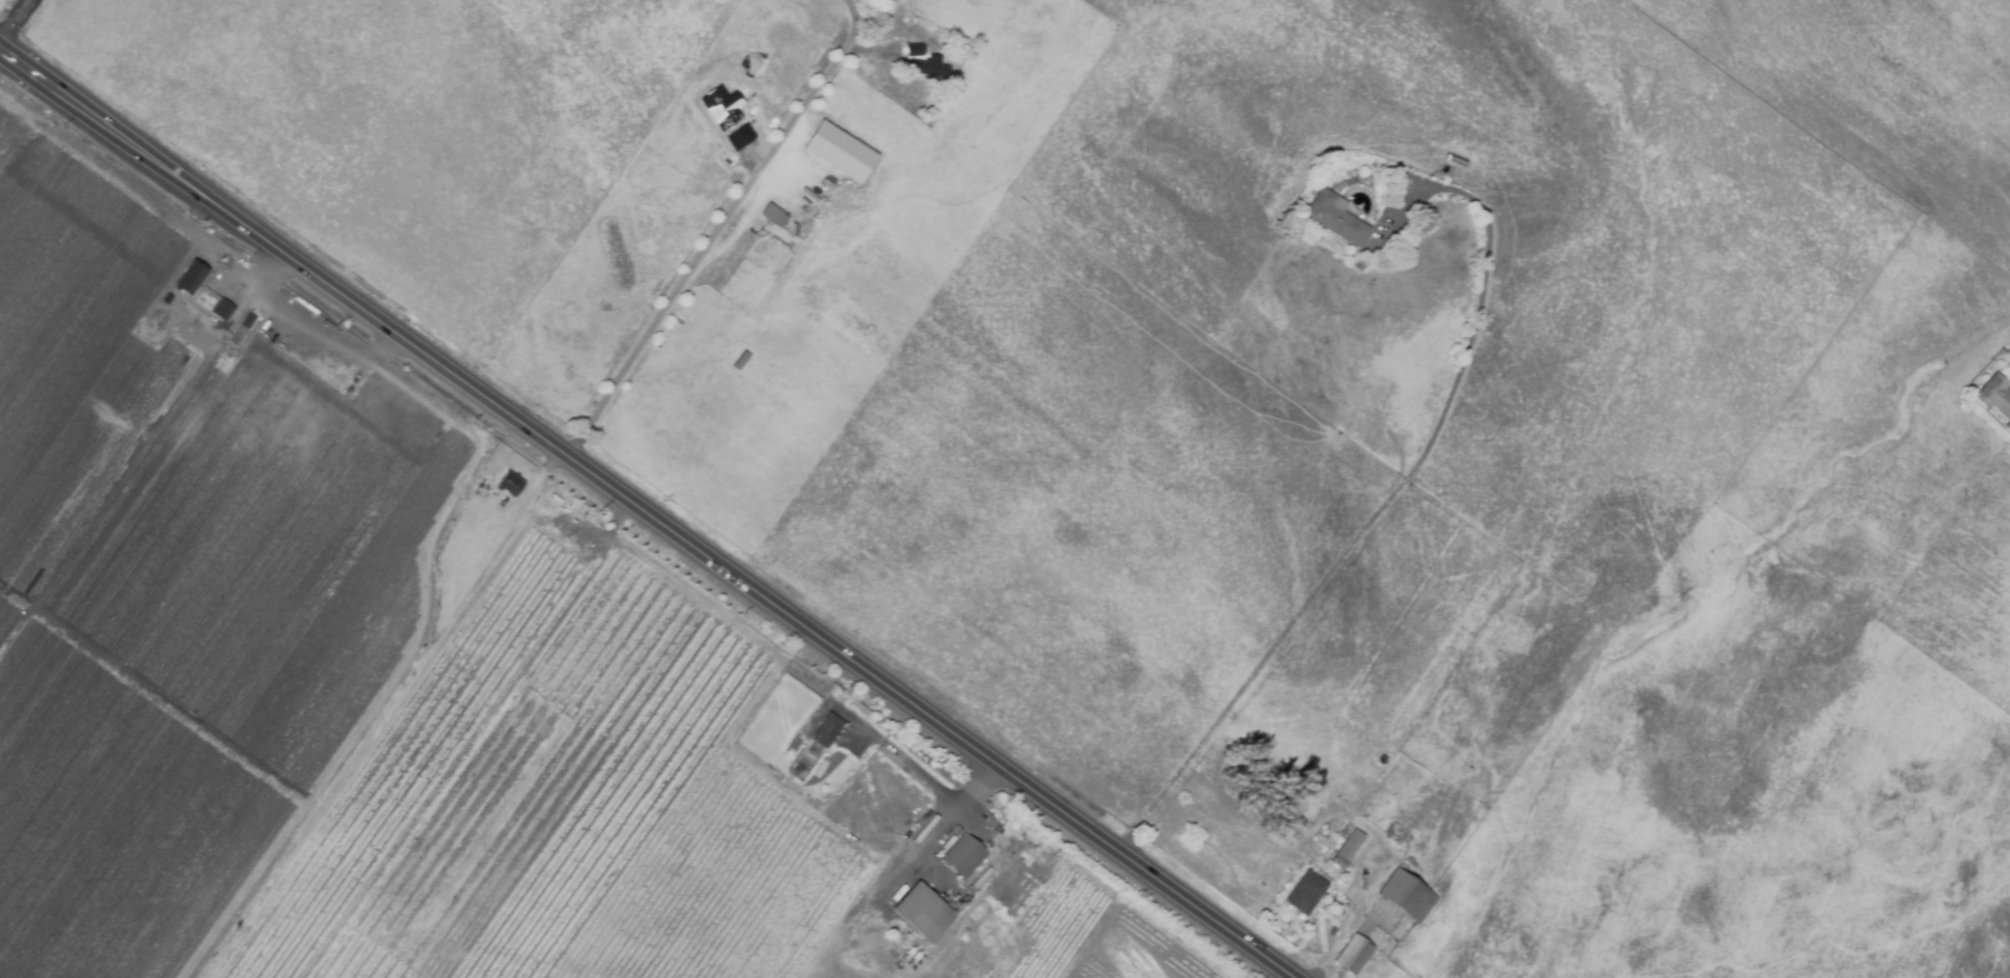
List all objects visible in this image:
road: (15, 22)
road: (50, 35)
building: (933, 57)
building: (930, 67)
building: (720, 107)
building: (738, 137)
building: (839, 151)
building: (775, 216)
building: (1336, 217)
road: (723, 226)
building: (191, 279)
building: (223, 310)
building: (249, 321)
building: (742, 361)
building: (269, 365)
building: (1996, 397)
building: (305, 431)
building: (512, 484)
road: (1385, 502)
building: (488, 503)
road: (652, 510)
road: (395, 700)
building: (828, 730)
road: (930, 778)
building: (1363, 810)
building: (1008, 811)
building: (956, 831)
building: (1401, 834)
building: (949, 836)
road: (911, 846)
building: (1349, 849)
building: (964, 856)
building: (1307, 893)
building: (1408, 896)
building: (922, 914)
road: (1343, 936)
building: (1355, 954)

